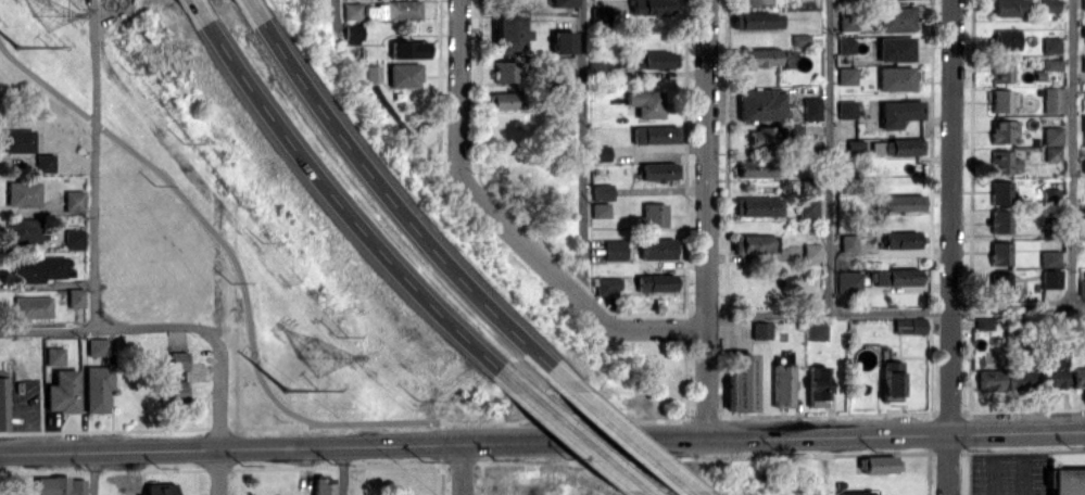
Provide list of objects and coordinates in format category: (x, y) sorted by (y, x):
building: (566, 2)
building: (1084, 3)
road: (197, 4)
road: (252, 4)
building: (1050, 5)
building: (654, 7)
building: (1009, 8)
building: (396, 10)
building: (357, 11)
building: (604, 14)
power tower: (51, 15)
building: (897, 18)
building: (759, 20)
building: (849, 20)
building: (1084, 30)
building: (358, 34)
building: (514, 34)
building: (803, 39)
building: (1008, 39)
building: (566, 41)
building: (847, 45)
building: (1052, 45)
power tower: (21, 48)
building: (897, 48)
building: (413, 49)
building: (761, 56)
building: (658, 59)
building: (1084, 63)
building: (1054, 64)
building: (509, 71)
building: (1004, 71)
building: (377, 73)
building: (409, 75)
building: (848, 75)
building: (897, 78)
road: (389, 89)
building: (506, 100)
building: (1002, 100)
building: (1054, 100)
building: (648, 103)
building: (762, 104)
building: (813, 107)
building: (848, 109)
building: (900, 112)
building: (1084, 124)
building: (1005, 130)
building: (658, 134)
building: (1055, 135)
building: (766, 138)
building: (22, 140)
building: (857, 147)
building: (879, 147)
building: (905, 147)
road: (584, 150)
building: (603, 152)
building: (1055, 153)
road: (1074, 153)
road: (832, 156)
building: (49, 162)
building: (1007, 162)
road: (99, 164)
building: (761, 168)
building: (663, 170)
building: (811, 187)
building: (606, 191)
building: (1004, 191)
building: (26, 193)
building: (1054, 195)
building: (78, 200)
building: (906, 202)
road: (342, 205)
road: (396, 205)
building: (759, 206)
building: (810, 207)
building: (604, 210)
building: (657, 214)
road: (709, 218)
building: (1002, 220)
road: (512, 221)
building: (1084, 223)
building: (26, 230)
building: (78, 238)
building: (905, 240)
building: (851, 242)
building: (757, 243)
road: (954, 246)
building: (618, 249)
building: (660, 249)
building: (815, 252)
building: (1004, 252)
building: (1052, 256)
road: (242, 265)
building: (42, 268)
building: (898, 276)
building: (1055, 279)
building: (850, 281)
building: (659, 282)
building: (1004, 283)
building: (613, 285)
building: (1083, 285)
building: (79, 296)
building: (36, 307)
road: (897, 309)
building: (988, 321)
building: (912, 325)
road: (114, 328)
building: (765, 329)
building: (820, 330)
building: (101, 346)
building: (58, 355)
power tower: (326, 357)
building: (180, 361)
building: (1057, 372)
building: (1025, 376)
building: (1081, 377)
building: (896, 378)
building: (995, 379)
building: (744, 382)
building: (786, 384)
building: (821, 385)
building: (100, 388)
building: (176, 390)
power tower: (291, 390)
building: (65, 392)
building: (4, 404)
road: (220, 418)
road: (775, 434)
road: (576, 439)
road: (629, 439)
road: (456, 442)
road: (223, 446)
building: (883, 464)
road: (466, 468)
road: (343, 469)
road: (97, 472)
building: (1070, 482)
building: (62, 485)
building: (327, 485)
building: (163, 488)
building: (861, 492)

